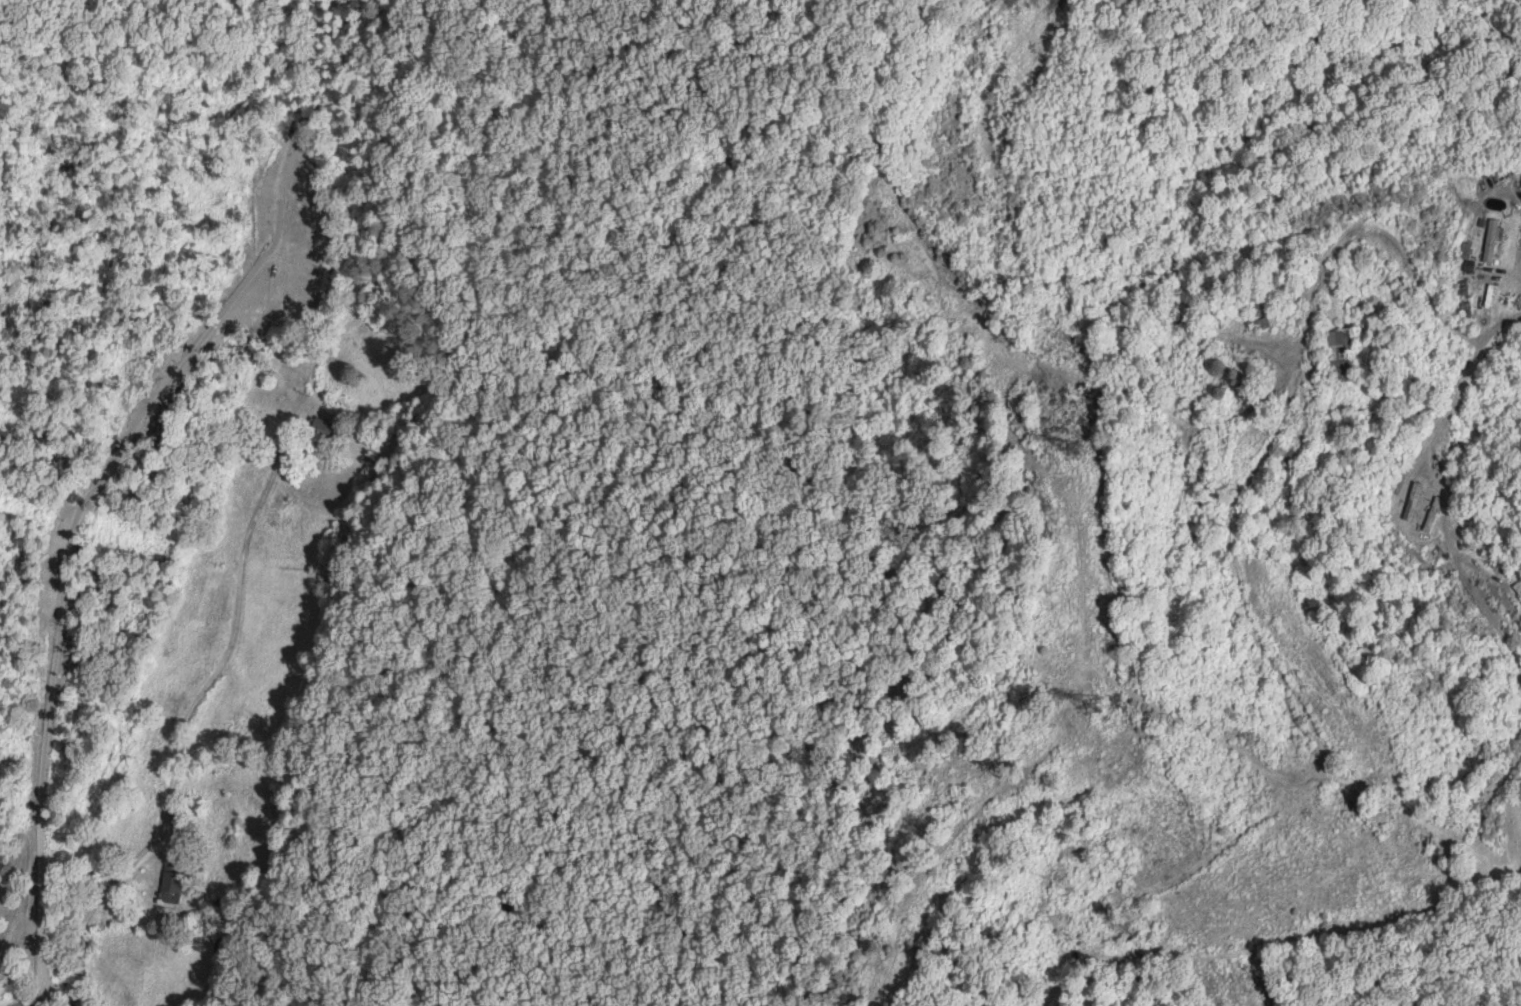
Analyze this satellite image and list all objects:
building: (171, 886)

